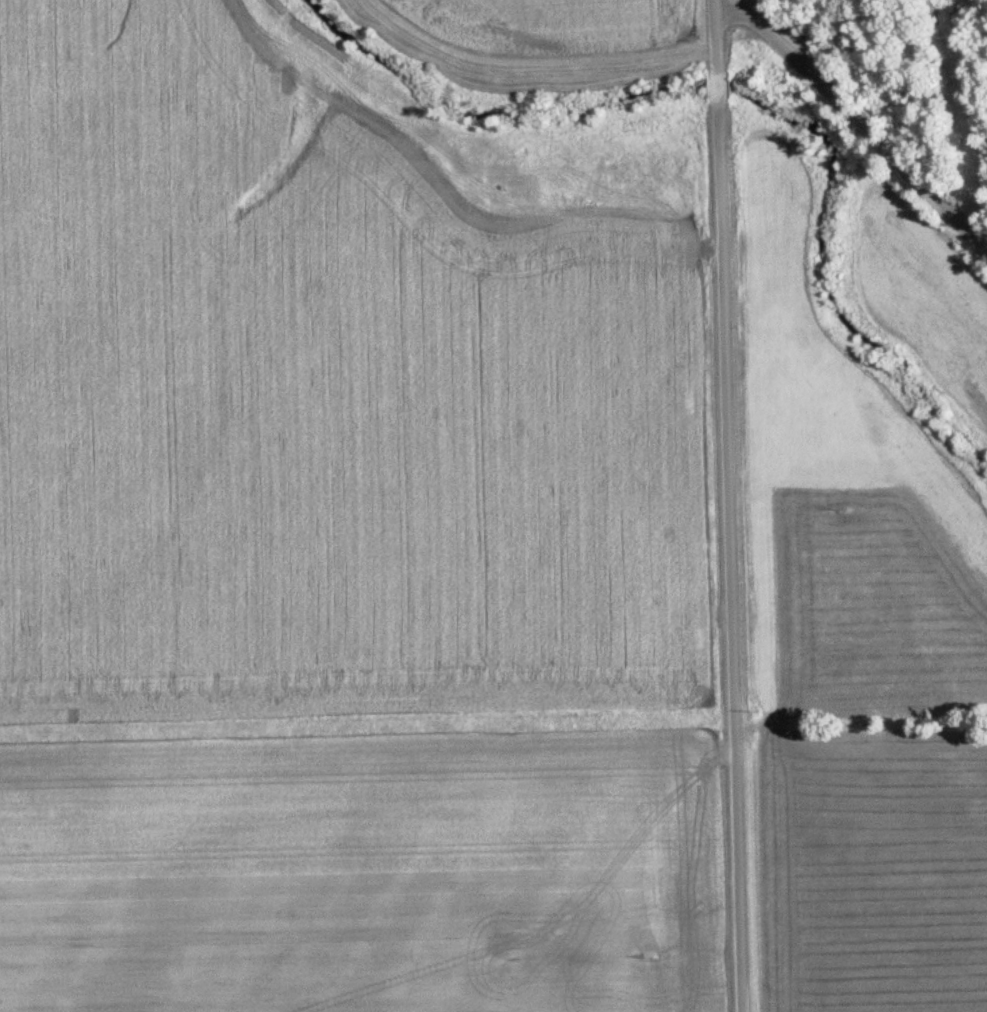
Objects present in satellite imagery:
road: (715, 32)
road: (716, 85)
road: (857, 113)
road: (726, 558)

